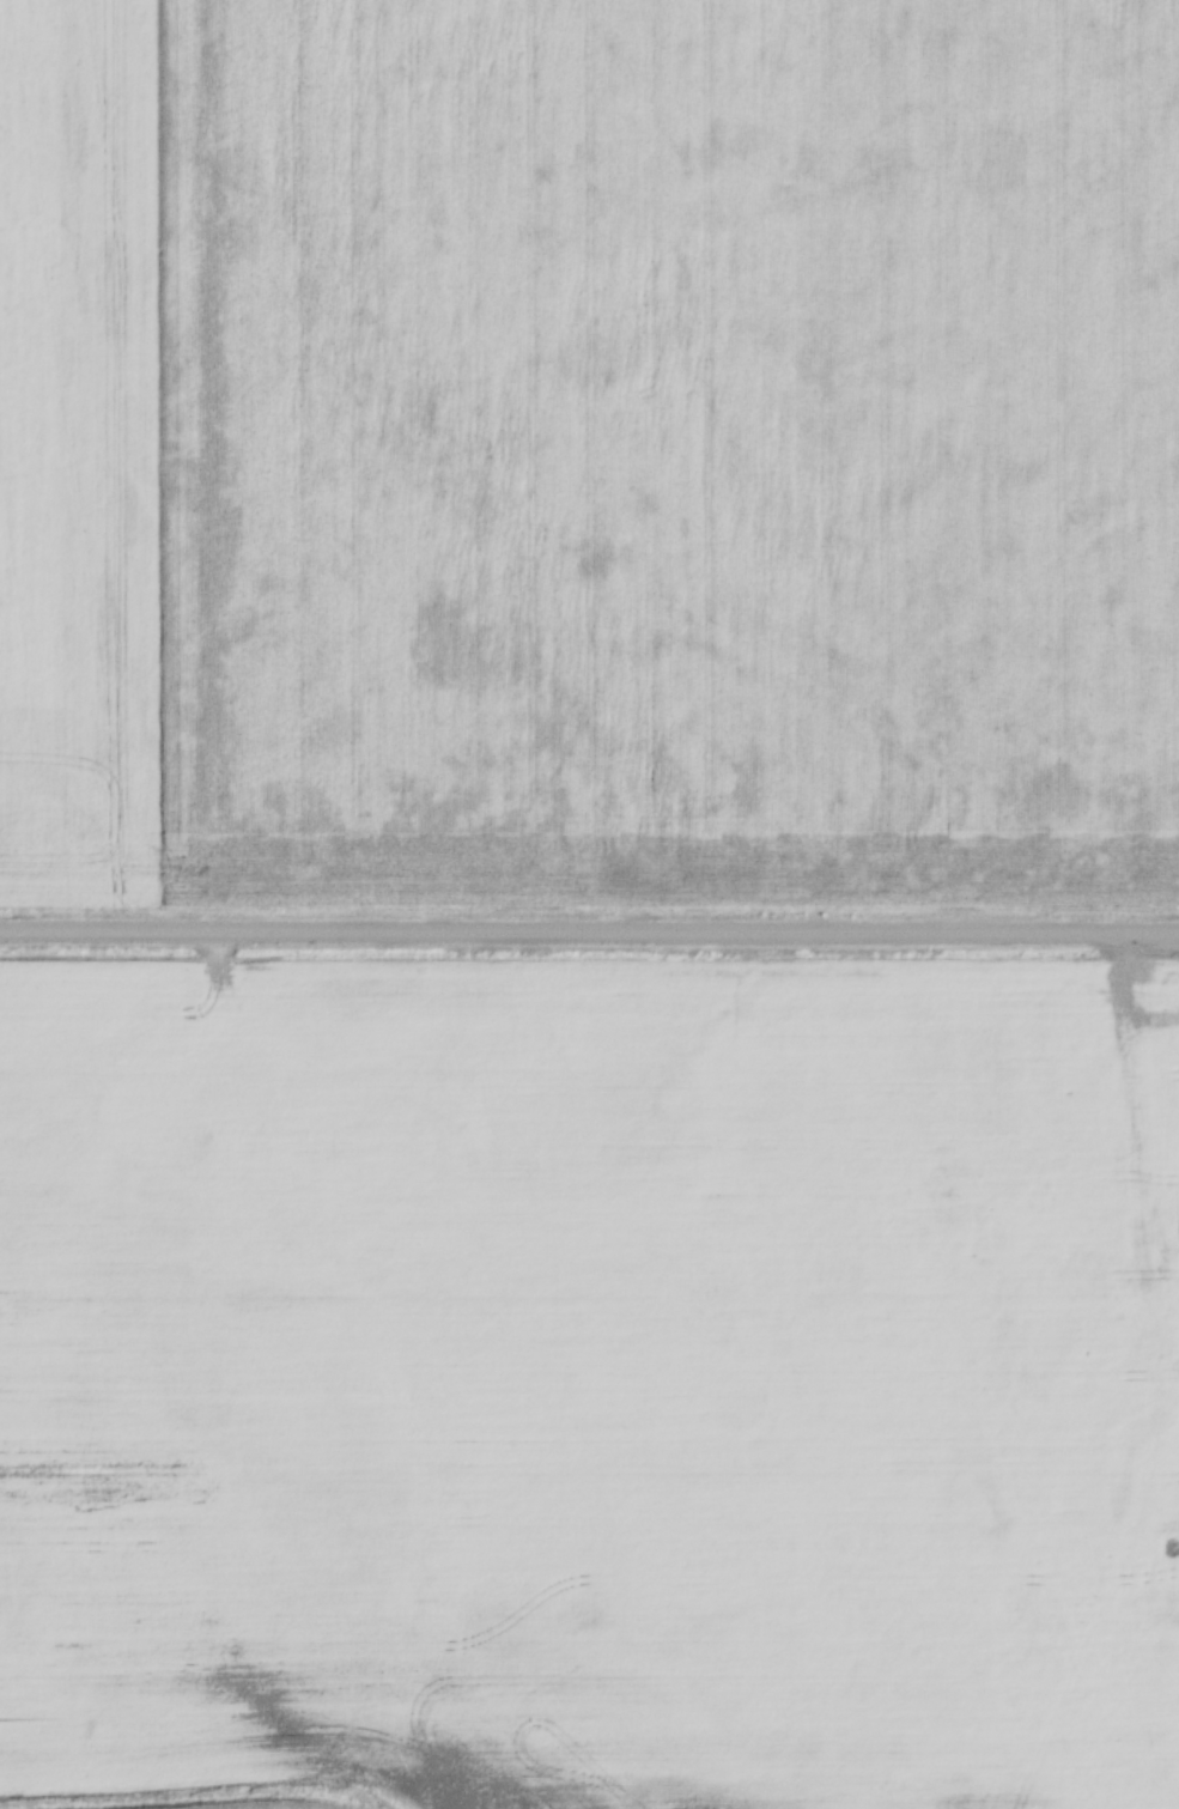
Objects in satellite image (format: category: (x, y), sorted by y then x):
road: (589, 935)

